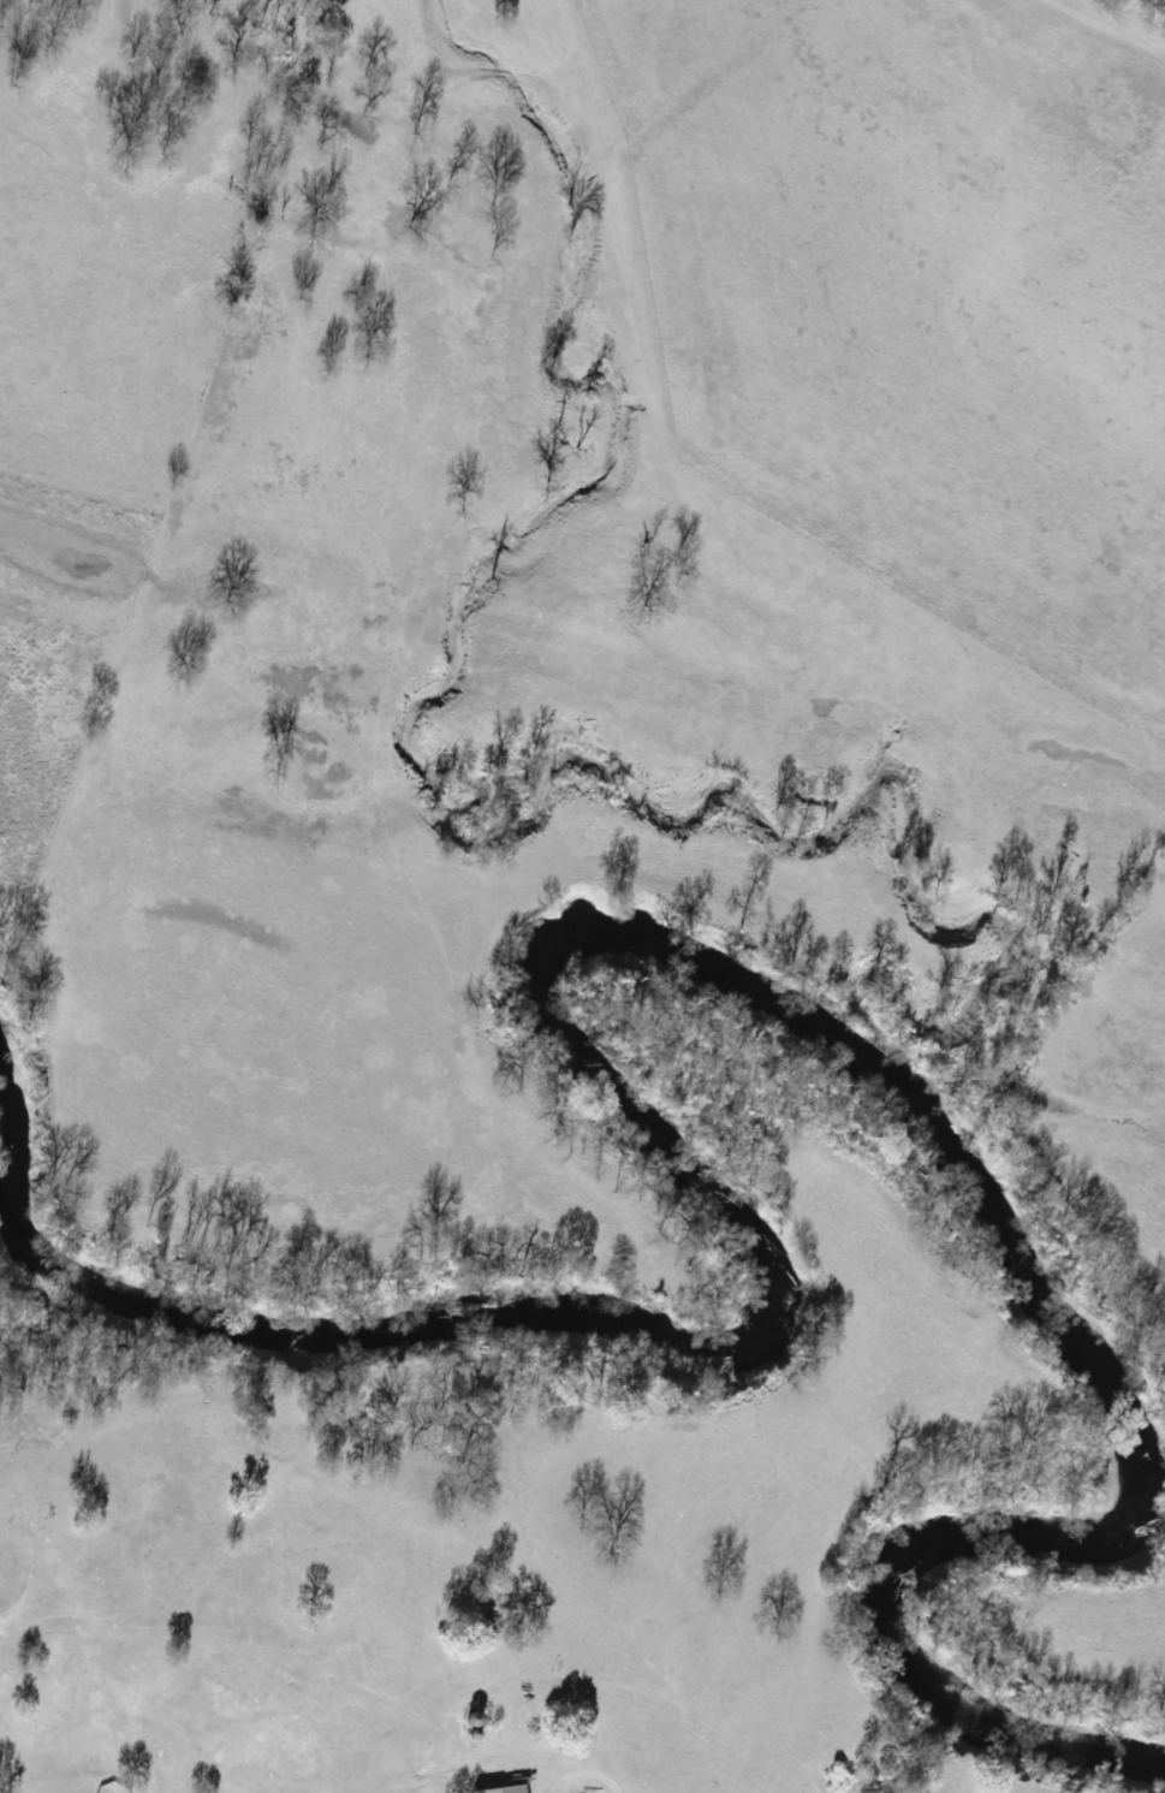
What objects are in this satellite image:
river: (566, 933)
road: (561, 1746)

